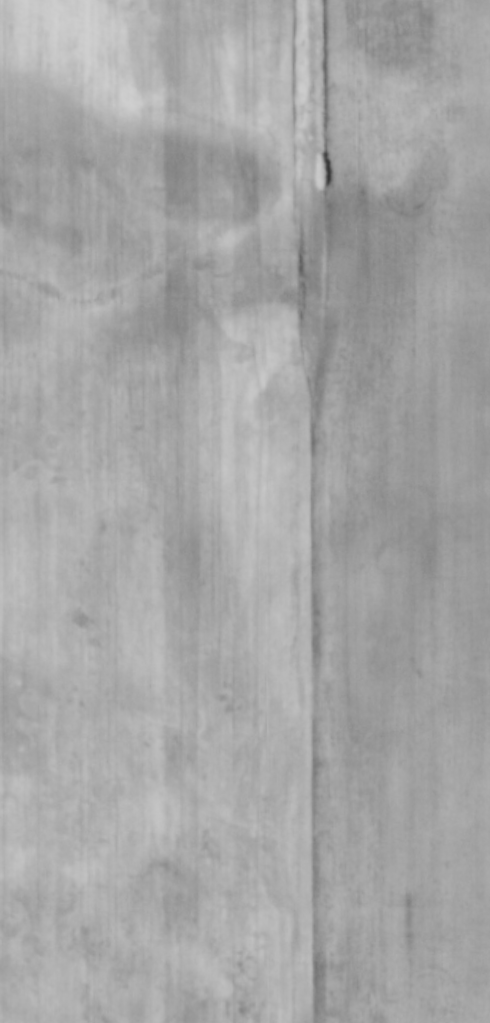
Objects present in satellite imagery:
road: (310, 511)

